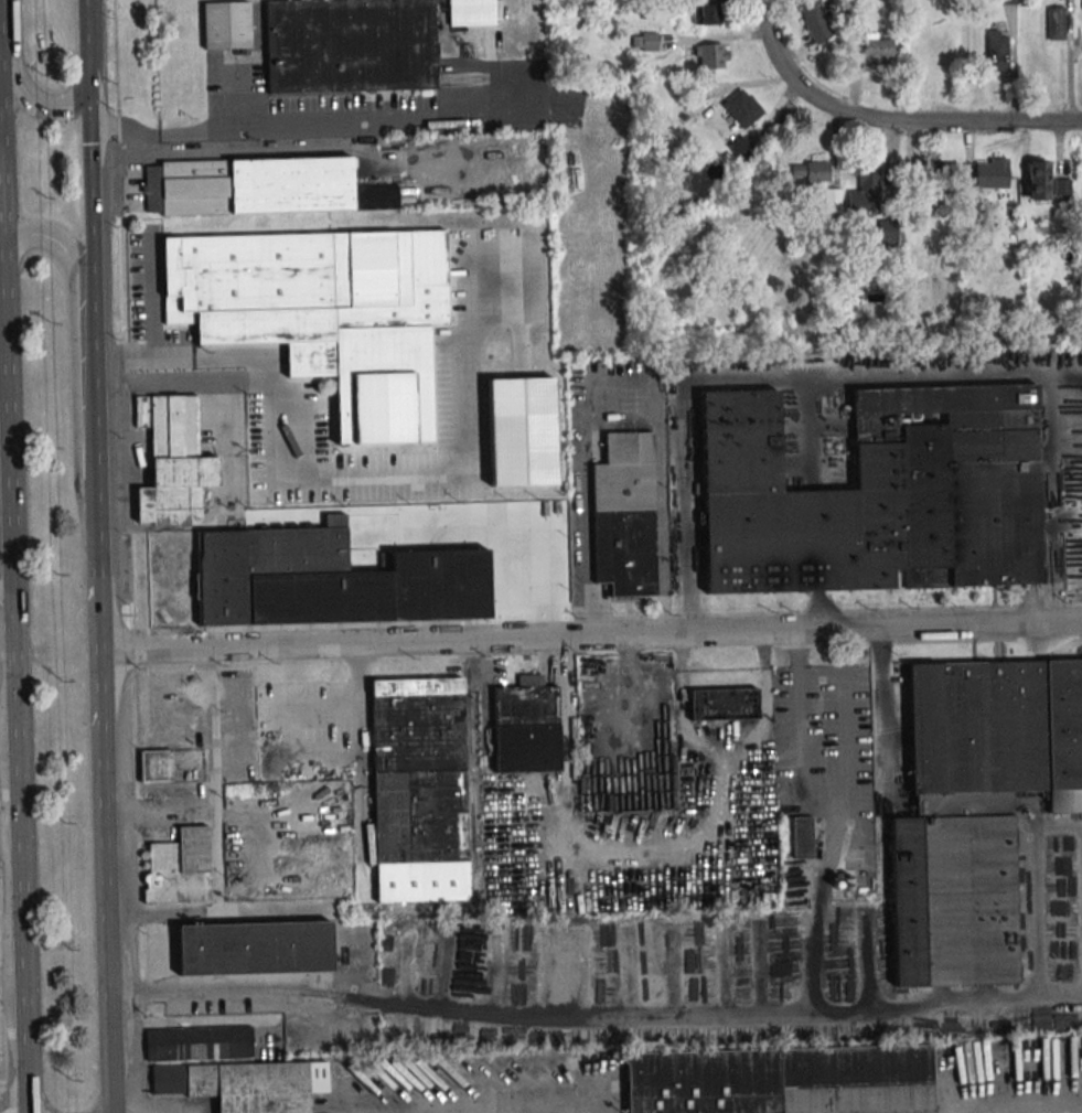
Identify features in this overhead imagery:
building: (471, 12)
building: (706, 13)
building: (815, 20)
building: (1056, 23)
building: (224, 25)
building: (644, 41)
road: (87, 43)
building: (349, 45)
building: (876, 50)
building: (996, 50)
building: (713, 56)
road: (22, 83)
traffic signals: (88, 86)
building: (741, 107)
road: (885, 120)
road: (299, 124)
road: (0, 138)
building: (742, 149)
building: (812, 171)
building: (931, 173)
building: (992, 173)
building: (1038, 180)
building: (259, 185)
road: (90, 186)
building: (865, 194)
building: (832, 196)
building: (887, 234)
road: (2, 298)
building: (324, 313)
road: (74, 357)
road: (3, 361)
parking lot: (207, 361)
road: (761, 379)
road: (615, 382)
road: (96, 384)
road: (3, 419)
building: (522, 431)
building: (172, 461)
road: (413, 468)
building: (876, 493)
road: (4, 499)
building: (623, 514)
road: (4, 533)
road: (130, 555)
road: (6, 576)
building: (298, 579)
flagpole: (979, 591)
flagpole: (993, 591)
flagpole: (964, 592)
road: (11, 600)
road: (817, 610)
road: (591, 635)
building: (722, 704)
road: (885, 709)
building: (525, 726)
road: (8, 738)
building: (154, 764)
building: (418, 770)
road: (217, 774)
road: (104, 798)
road: (828, 798)
building: (975, 807)
road: (848, 831)
building: (802, 836)
road: (9, 839)
building: (180, 867)
building: (253, 948)
road: (11, 986)
road: (1059, 1006)
road: (571, 1018)
building: (196, 1044)
building: (781, 1081)
building: (244, 1084)
road: (1026, 1109)

